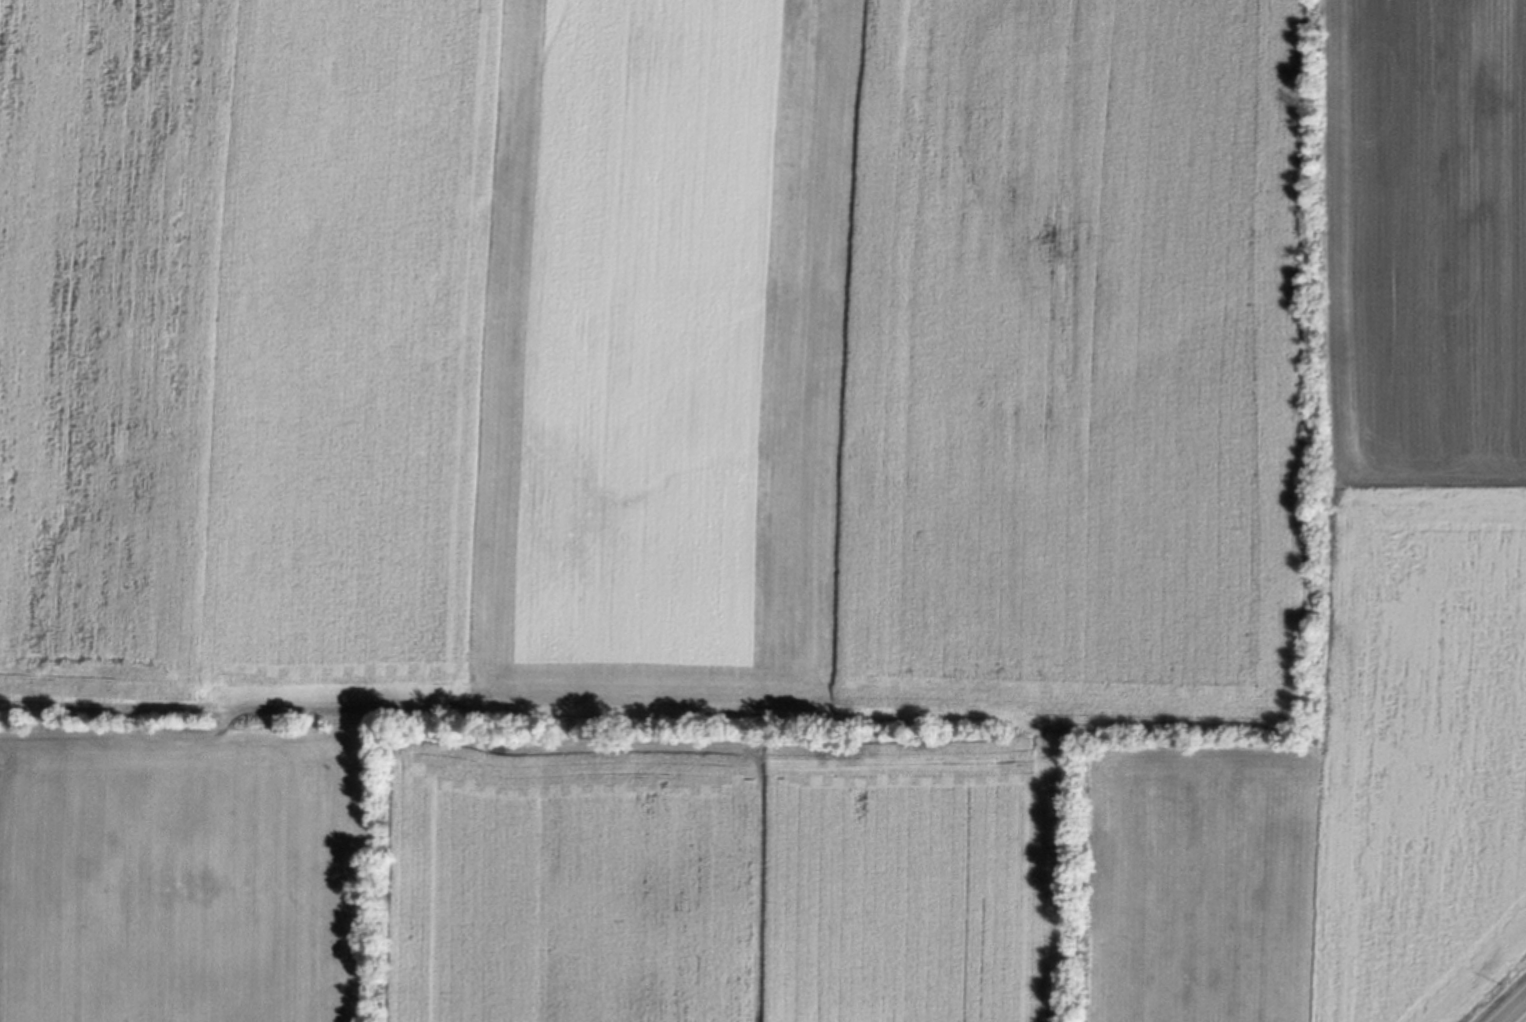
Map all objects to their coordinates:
road: (1515, 1011)

